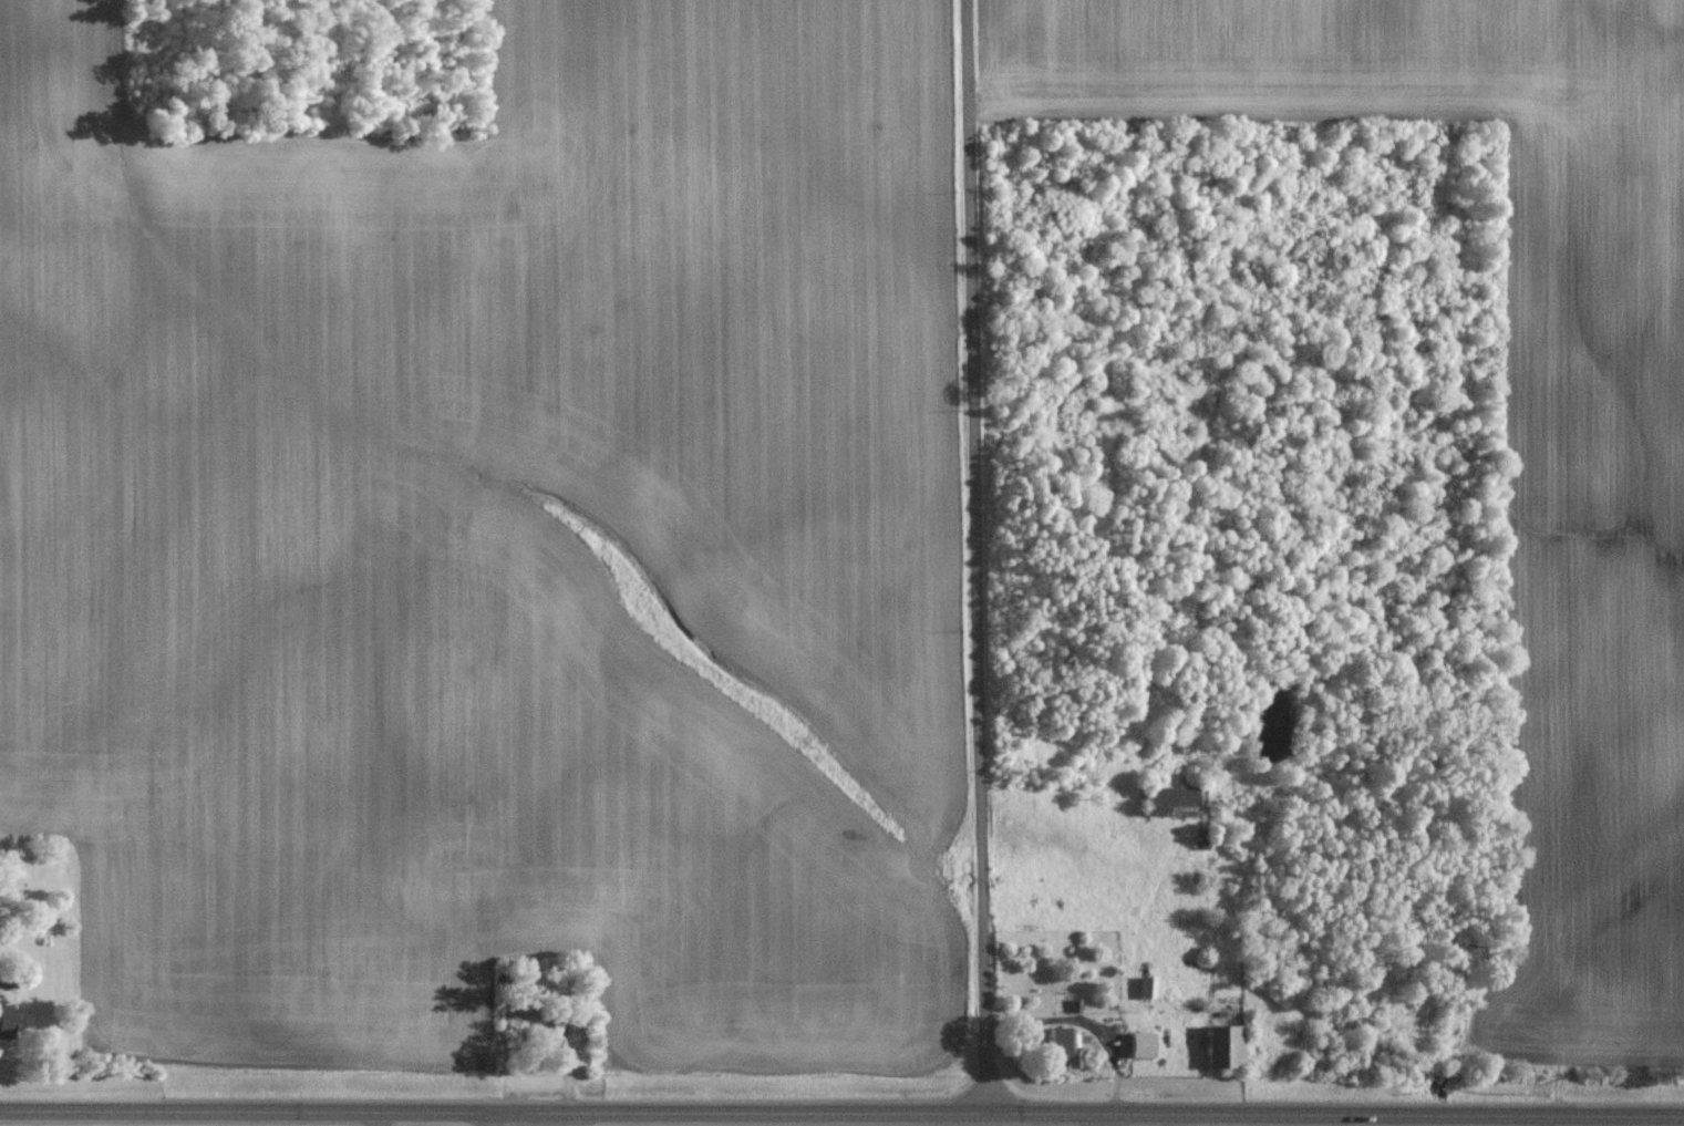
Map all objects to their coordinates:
road: (977, 557)
building: (1171, 799)
building: (1149, 985)
building: (1144, 1043)
building: (1228, 1045)
road: (841, 1114)
road: (506, 1119)

